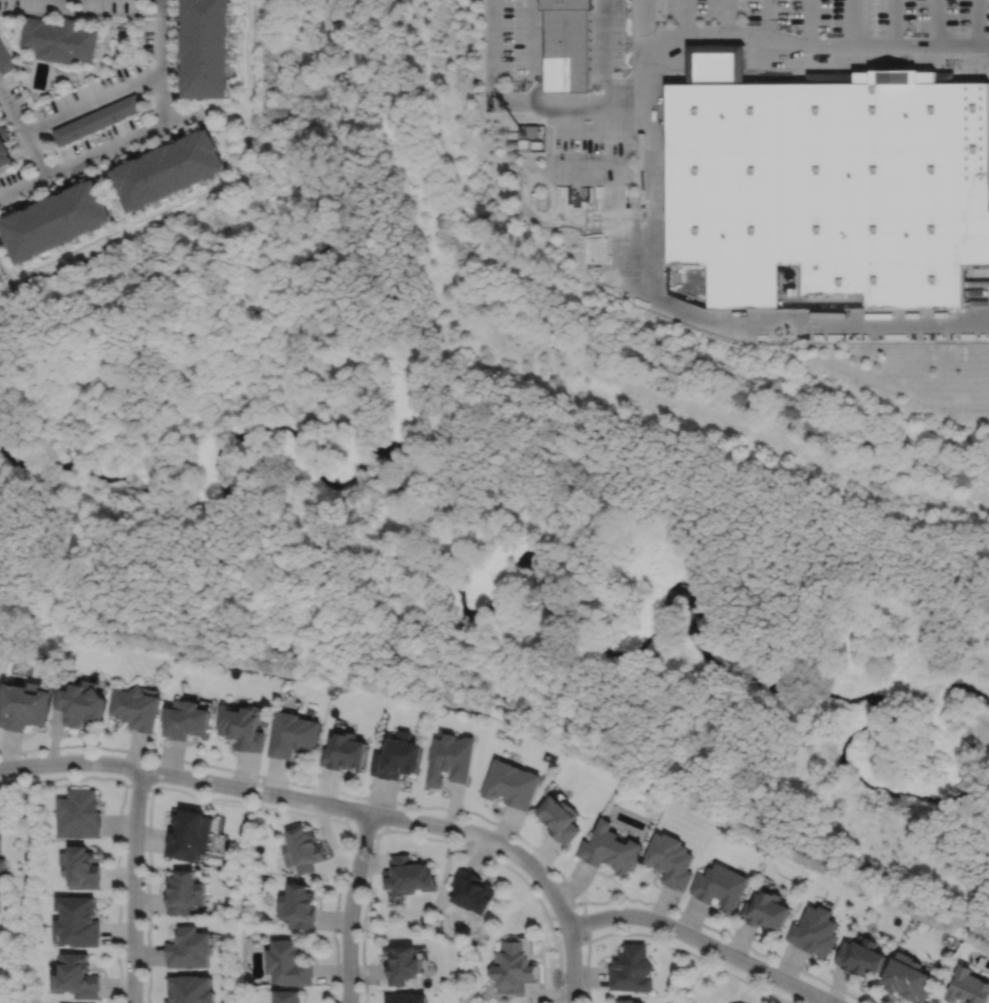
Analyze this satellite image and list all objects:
parking lot: (843, 14)
road: (686, 17)
road: (727, 17)
road: (768, 19)
road: (812, 23)
road: (850, 23)
road: (894, 23)
road: (936, 23)
road: (976, 23)
building: (60, 40)
building: (566, 45)
road: (815, 47)
building: (206, 48)
road: (534, 50)
building: (5, 58)
road: (164, 62)
building: (719, 65)
building: (833, 78)
building: (947, 78)
road: (625, 100)
road: (549, 101)
road: (93, 102)
parking lot: (579, 115)
building: (96, 119)
road: (24, 132)
road: (600, 132)
building: (529, 136)
road: (644, 148)
road: (100, 152)
building: (5, 155)
road: (423, 165)
building: (170, 171)
building: (833, 188)
road: (531, 193)
building: (56, 222)
road: (816, 324)
road: (404, 357)
road: (726, 424)
building: (80, 704)
building: (24, 705)
building: (136, 709)
building: (186, 721)
building: (243, 727)
building: (290, 735)
building: (342, 752)
building: (396, 758)
building: (449, 760)
building: (510, 785)
road: (139, 787)
road: (234, 800)
road: (305, 800)
road: (465, 810)
road: (387, 814)
building: (78, 816)
building: (559, 820)
road: (117, 829)
road: (363, 831)
building: (190, 837)
road: (435, 838)
building: (609, 850)
building: (301, 851)
building: (671, 861)
building: (2, 867)
building: (80, 869)
building: (406, 876)
road: (133, 885)
building: (720, 888)
building: (470, 892)
building: (184, 894)
road: (350, 906)
building: (296, 908)
road: (560, 911)
building: (765, 911)
building: (77, 920)
road: (585, 921)
building: (813, 931)
road: (571, 940)
road: (703, 941)
road: (663, 944)
building: (189, 947)
building: (860, 954)
building: (287, 962)
building: (400, 964)
road: (572, 964)
building: (513, 966)
building: (631, 970)
building: (76, 975)
building: (907, 976)
building: (968, 985)
building: (191, 989)
building: (287, 996)
building: (404, 997)
building: (628, 1000)
road: (817, 1000)
building: (963, 1002)

